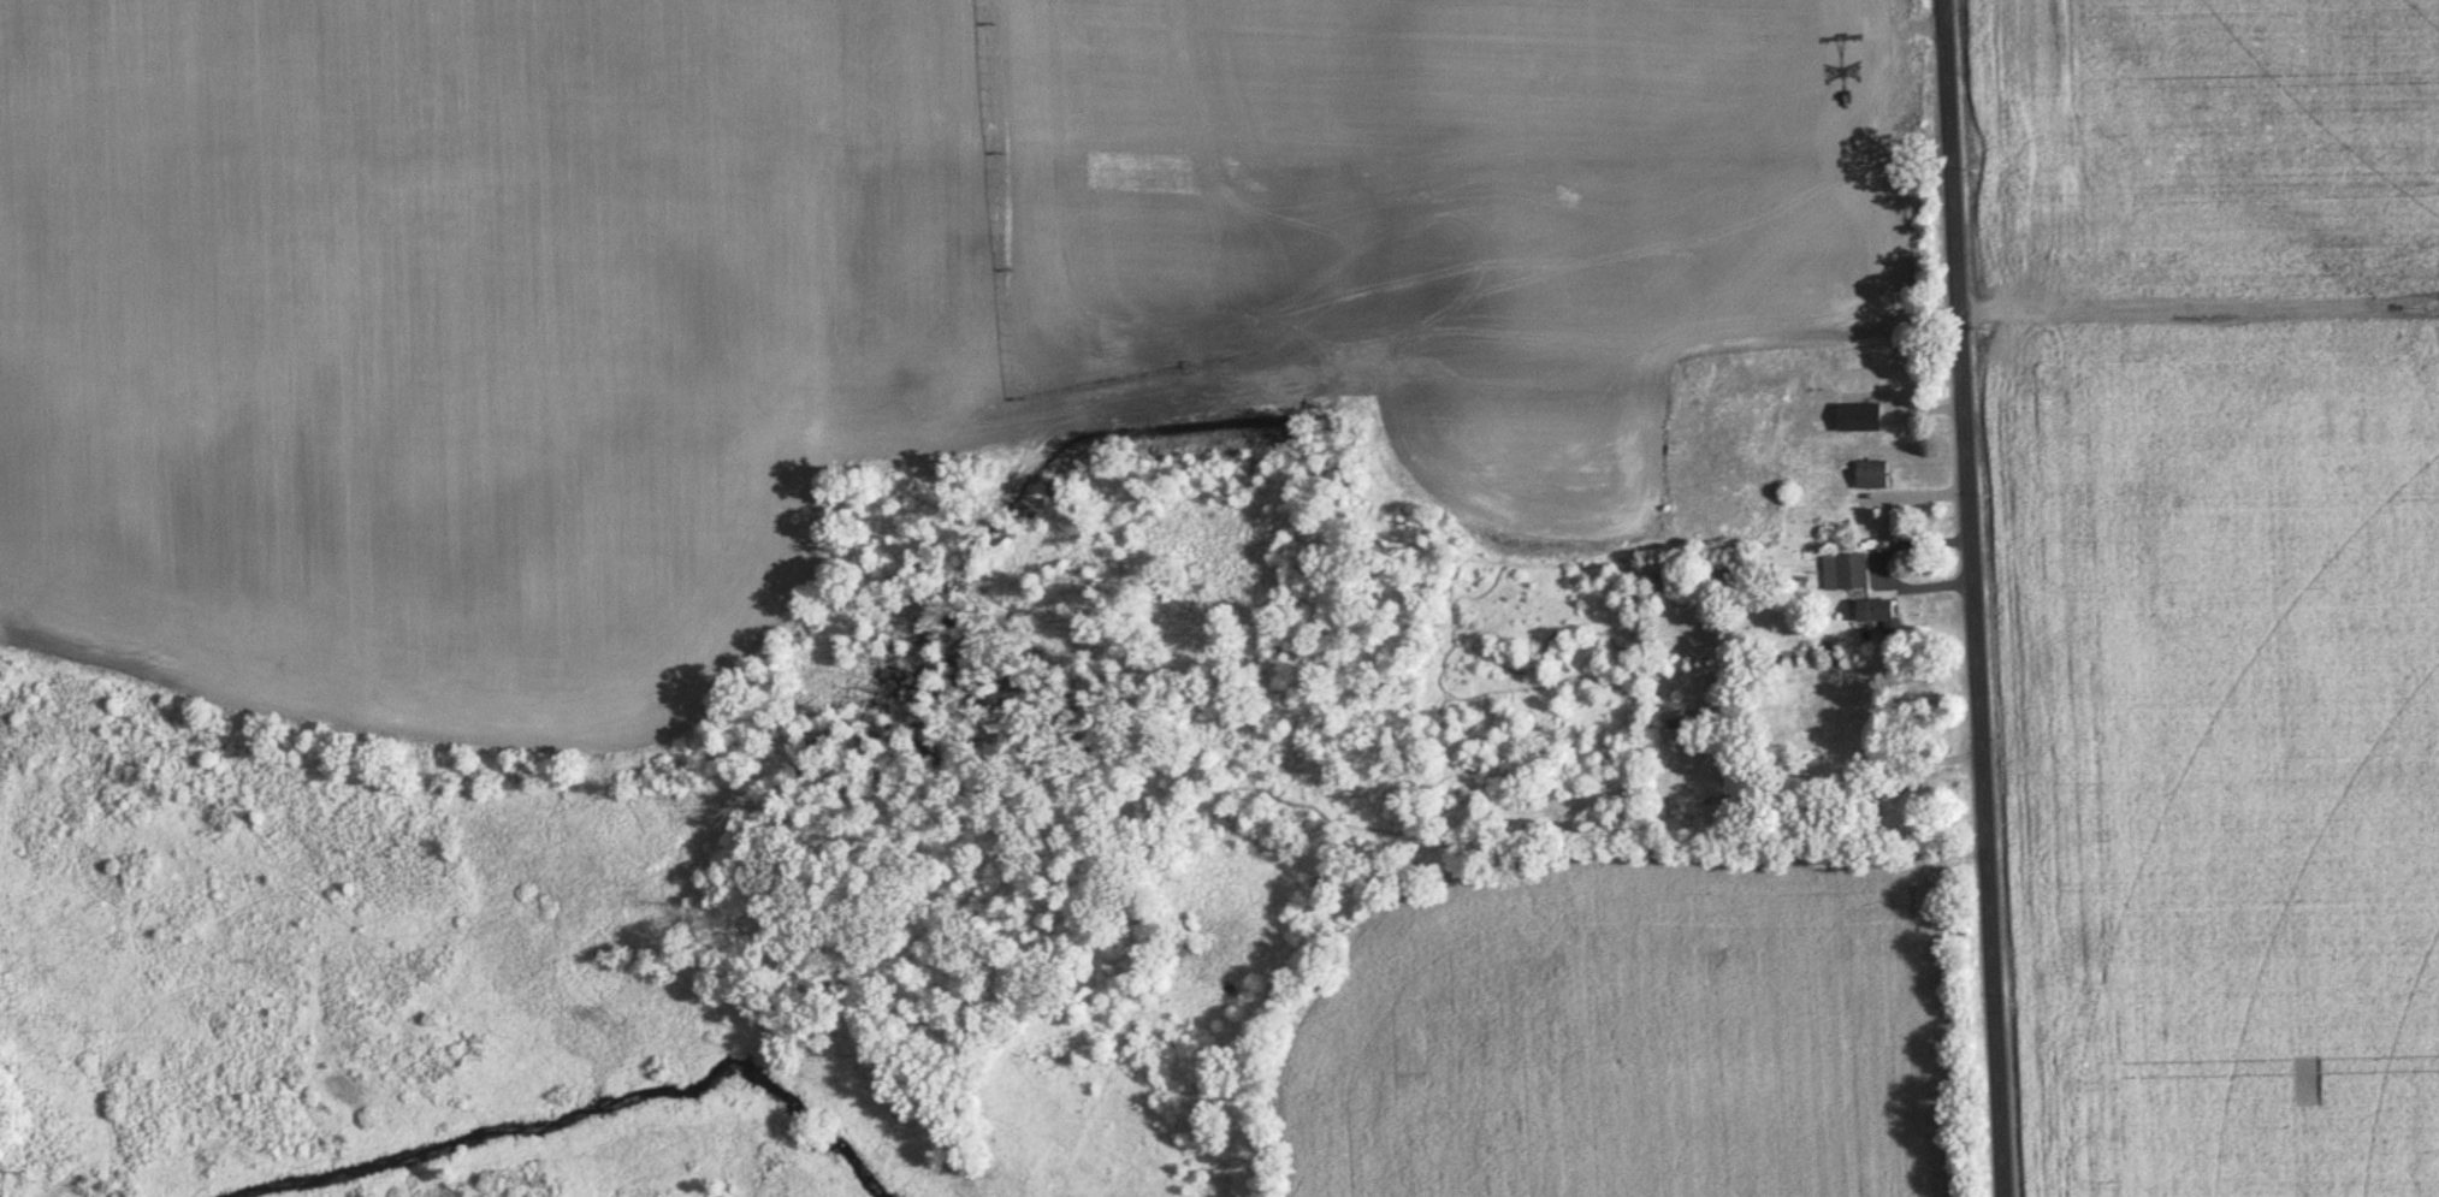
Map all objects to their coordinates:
building: (1873, 476)
road: (1888, 545)
building: (1846, 574)
road: (1978, 598)
building: (1882, 620)

